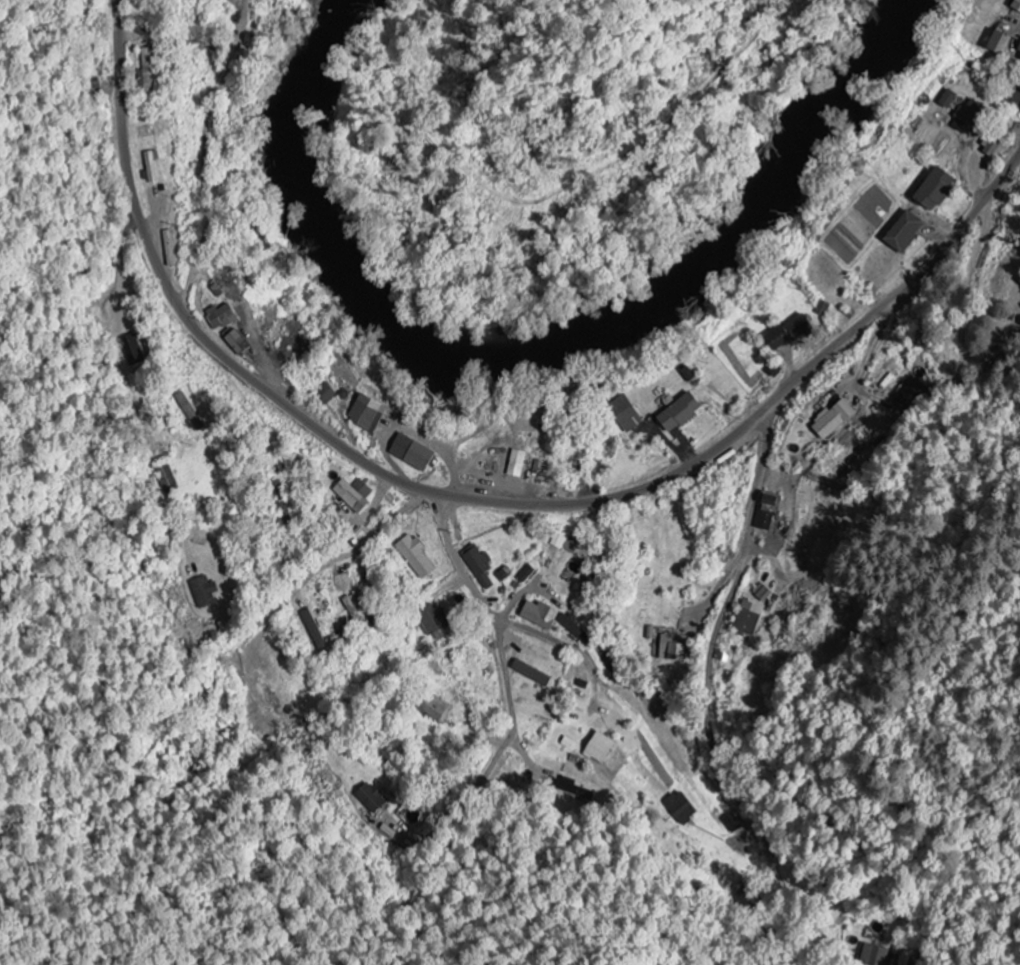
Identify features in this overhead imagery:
building: (1016, 6)
building: (995, 45)
building: (1017, 51)
building: (153, 71)
building: (952, 100)
building: (1013, 101)
building: (974, 115)
building: (993, 148)
building: (153, 169)
building: (939, 190)
building: (909, 234)
building: (224, 318)
building: (794, 335)
building: (242, 344)
river: (541, 356)
building: (371, 414)
building: (685, 414)
building: (631, 415)
building: (836, 420)
building: (417, 455)
building: (520, 464)
building: (357, 496)
road: (475, 499)
building: (771, 514)
road: (770, 555)
building: (418, 558)
building: (481, 568)
building: (206, 594)
road: (722, 612)
building: (545, 616)
road: (500, 619)
building: (750, 619)
building: (436, 626)
building: (315, 627)
building: (582, 629)
building: (535, 675)
building: (376, 799)
building: (686, 807)
building: (735, 824)
building: (877, 953)

